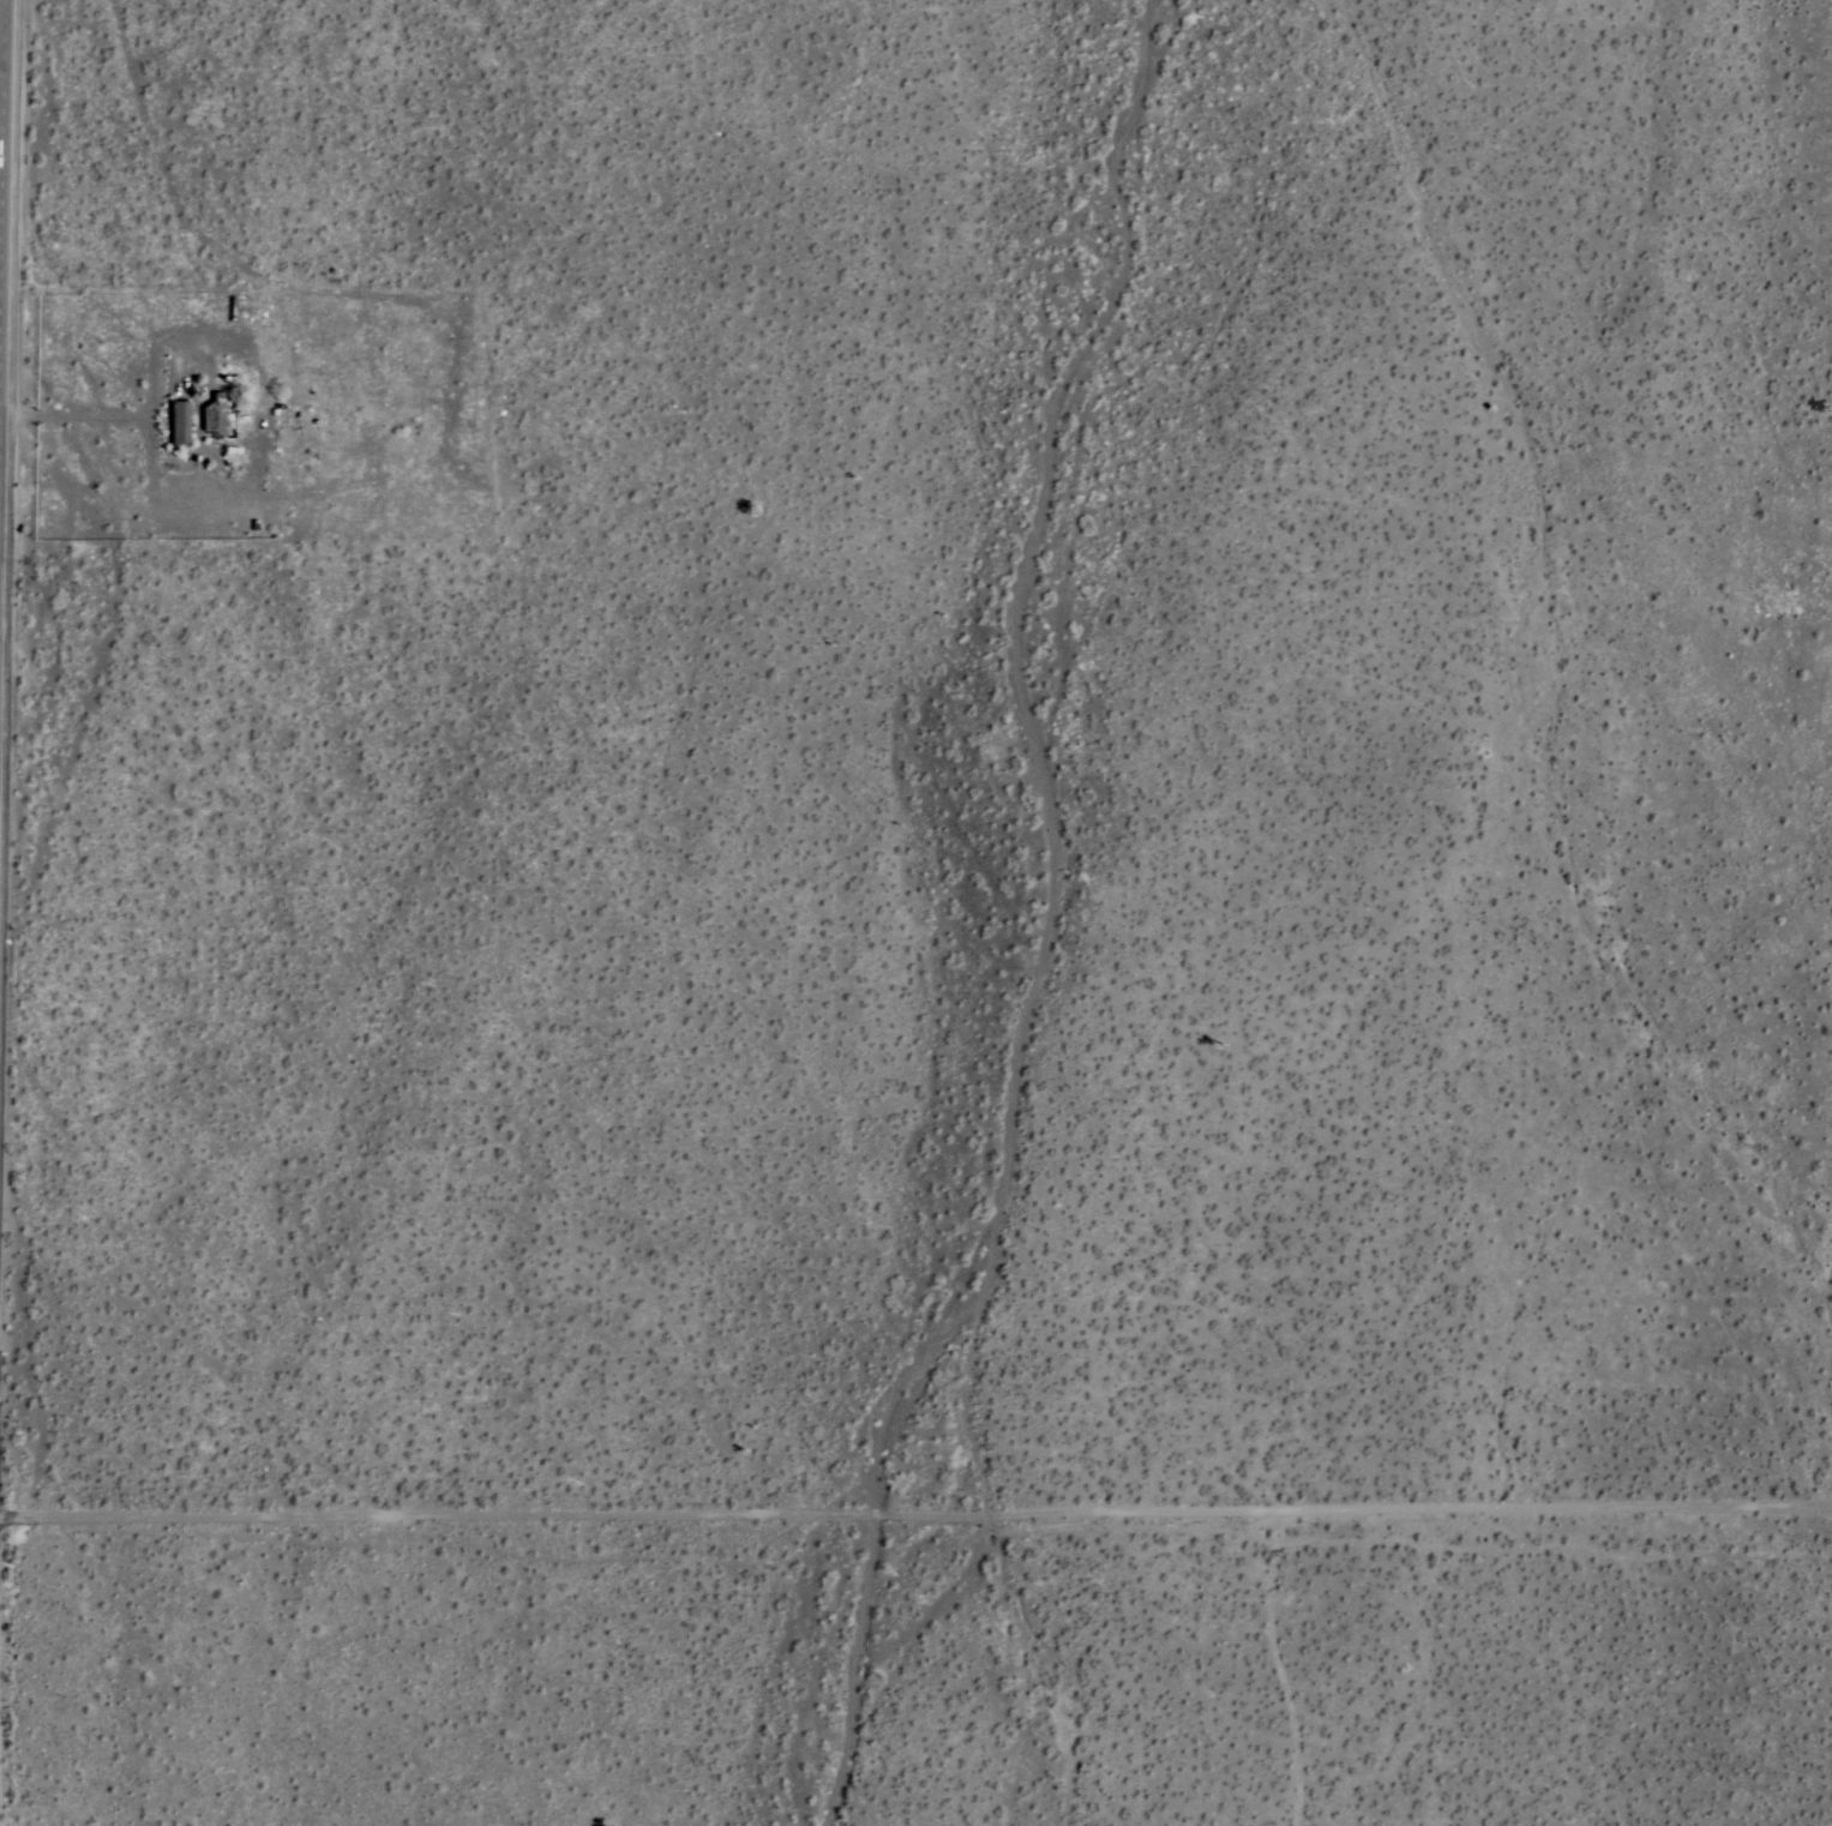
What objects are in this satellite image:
building: (210, 414)
road: (66, 415)
building: (178, 422)
road: (256, 425)
road: (915, 1514)

